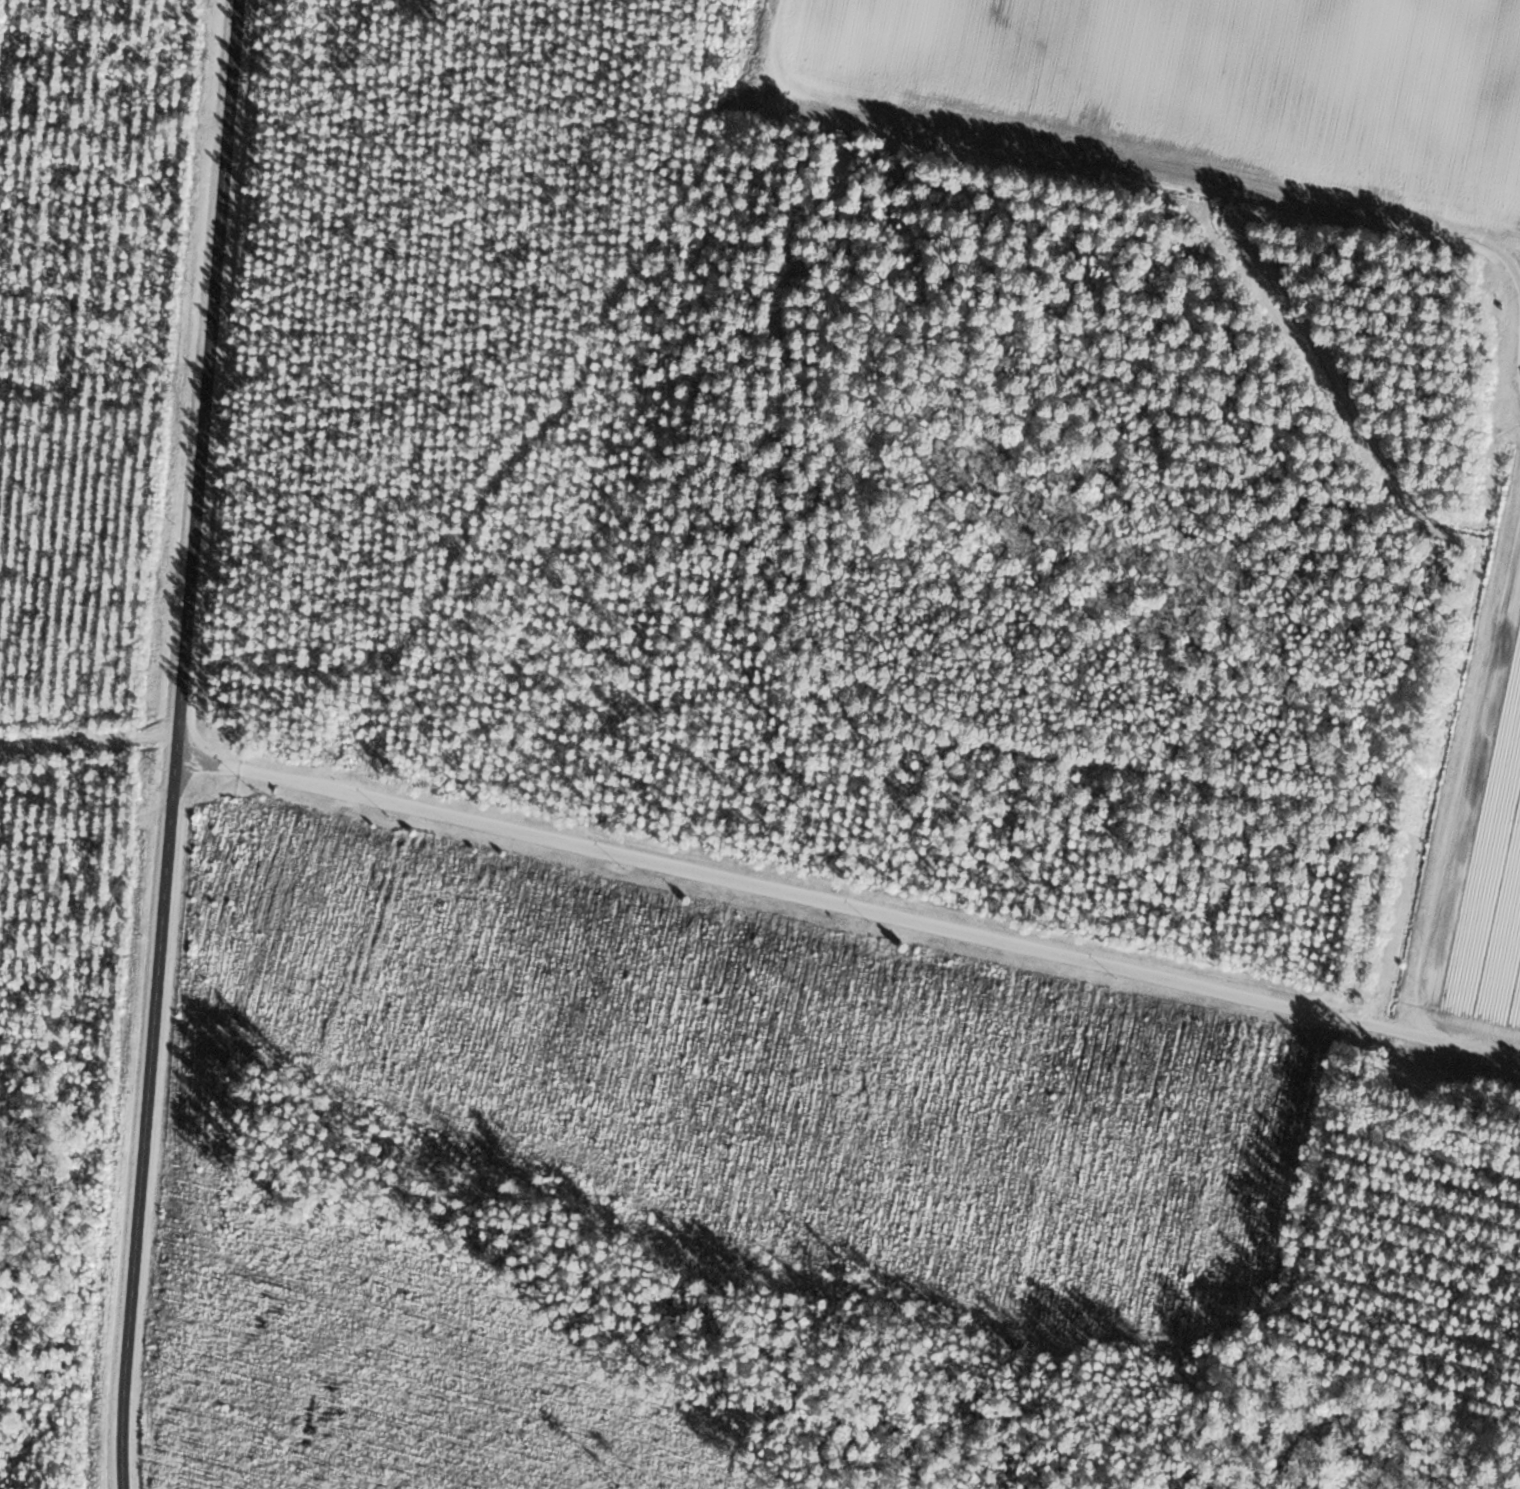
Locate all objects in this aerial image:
road: (179, 744)
road: (849, 901)

